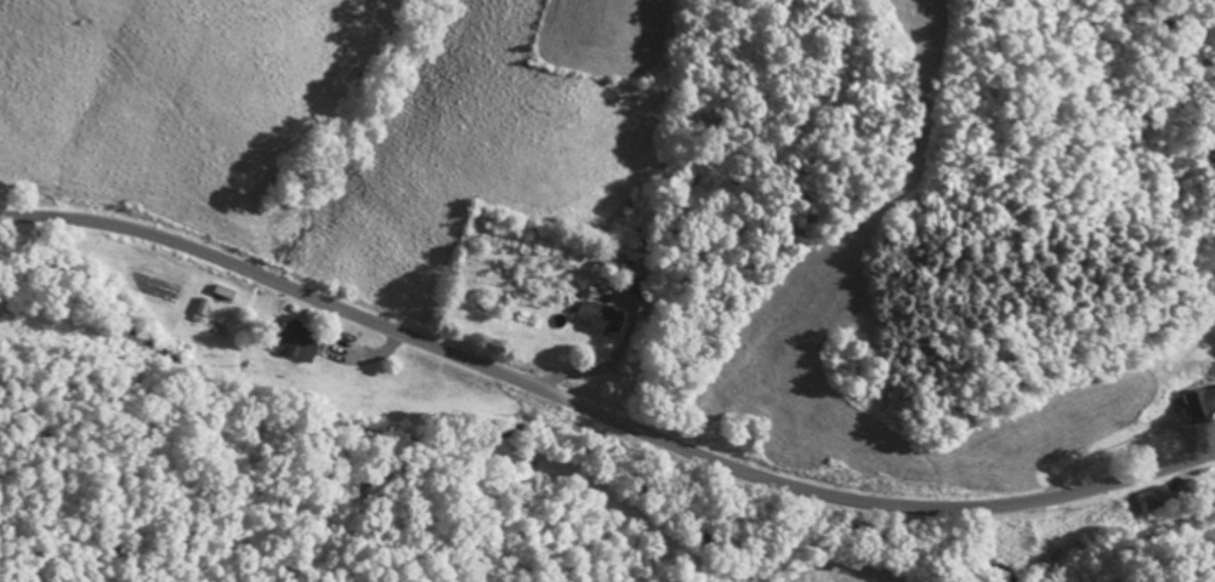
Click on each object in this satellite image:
building: (598, 318)
building: (297, 342)
building: (1200, 400)
road: (600, 416)
building: (744, 436)

